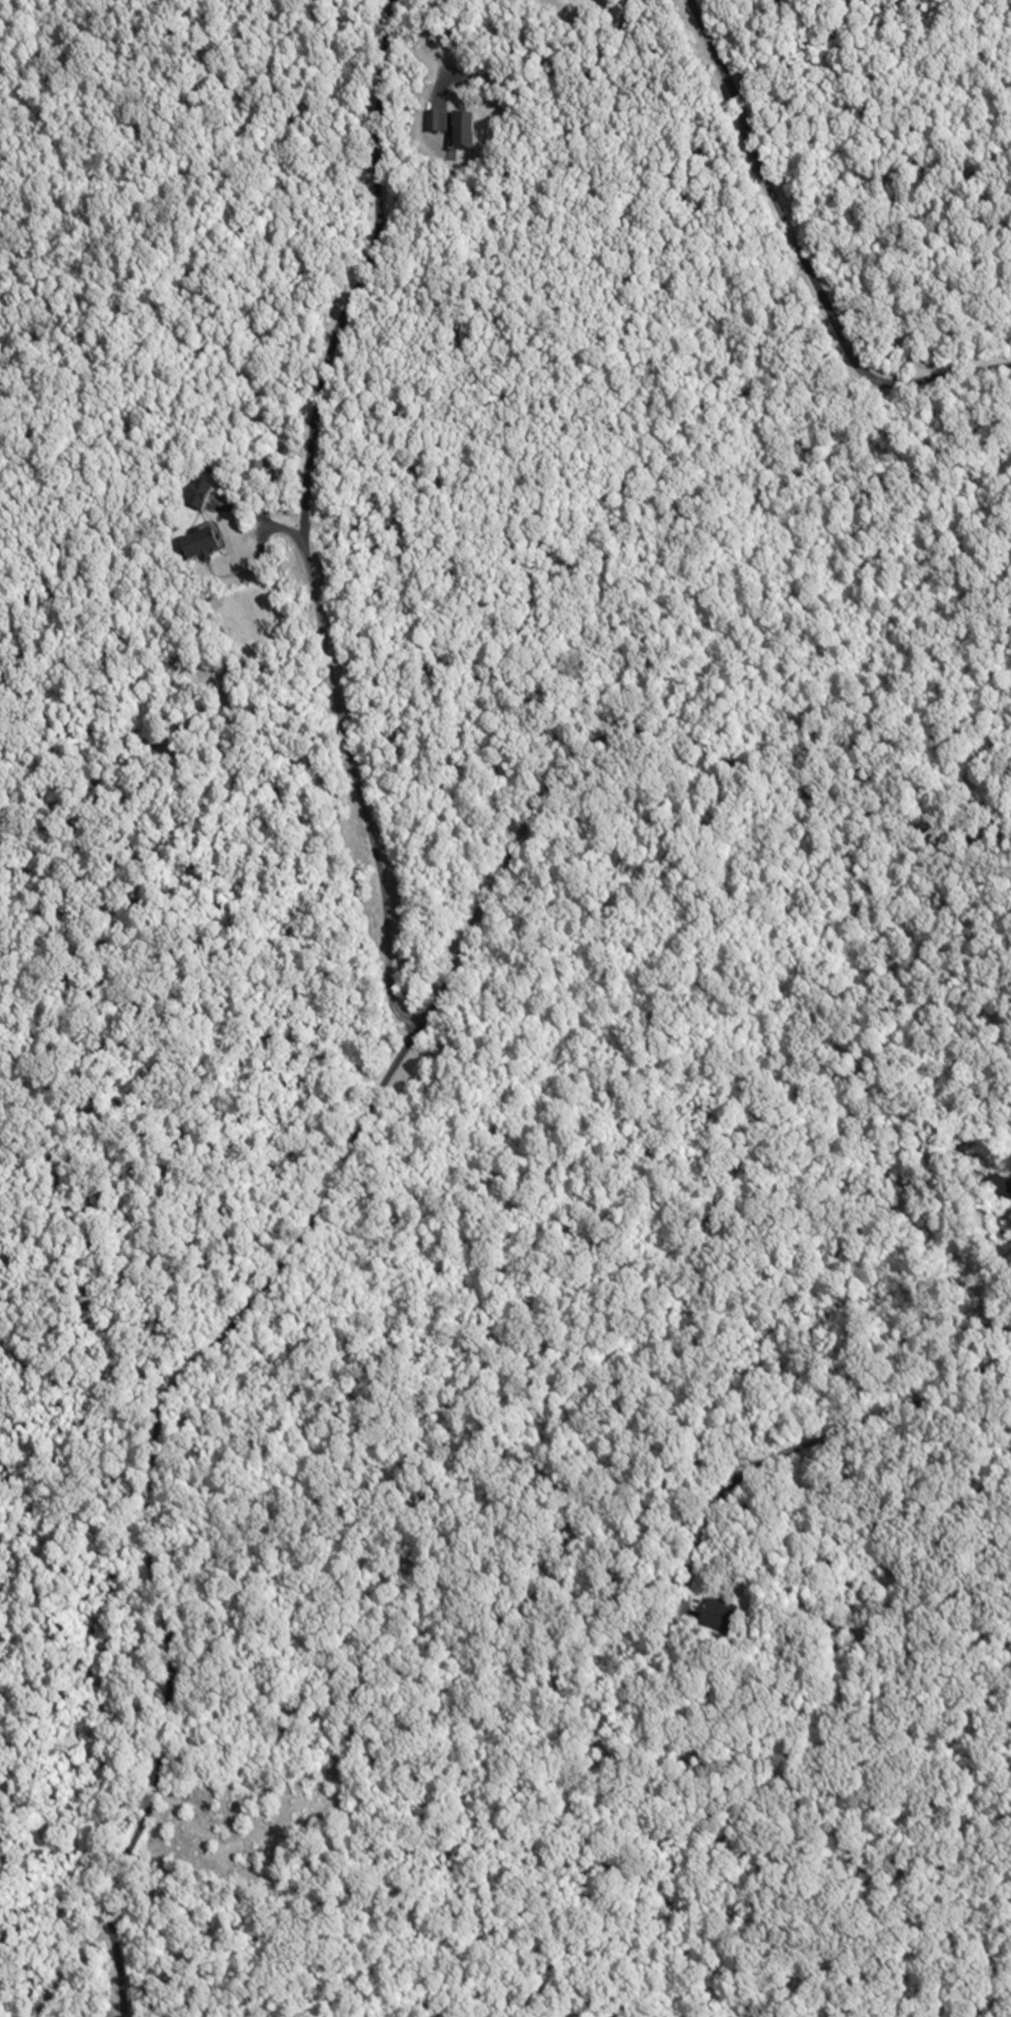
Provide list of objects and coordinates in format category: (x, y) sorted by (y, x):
road: (809, 255)
road: (362, 271)
road: (266, 493)
building: (206, 494)
building: (209, 544)
road: (352, 738)
road: (345, 1173)
road: (813, 1438)

